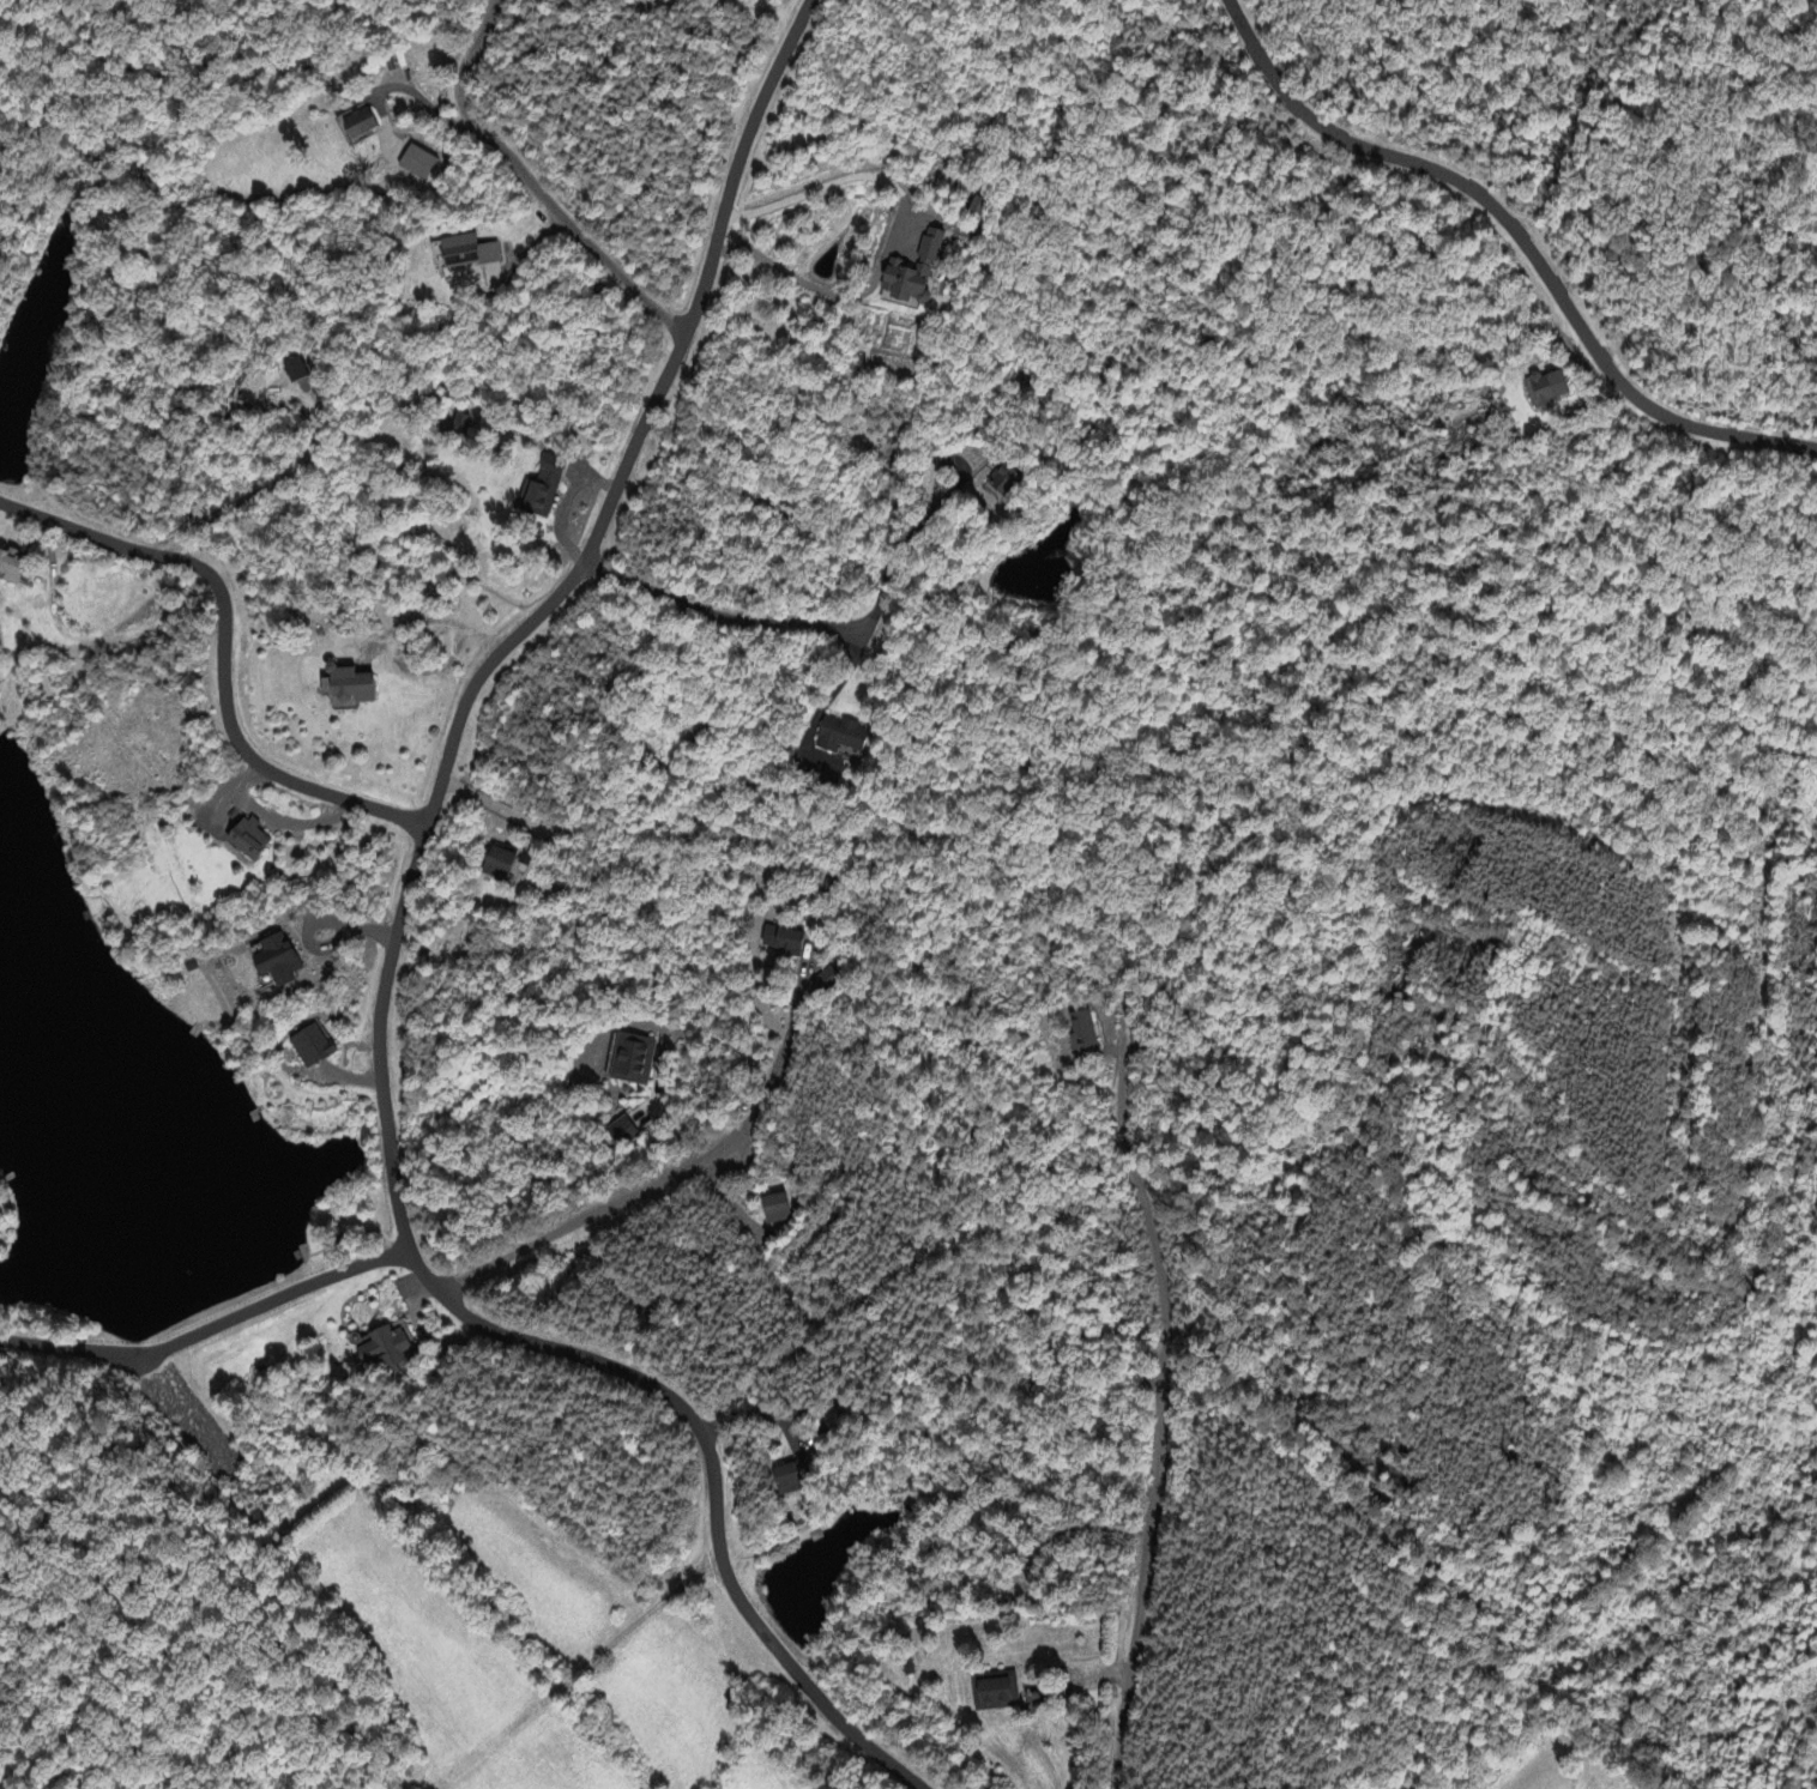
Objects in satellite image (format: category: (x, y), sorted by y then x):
building: (357, 126)
building: (415, 164)
road: (525, 179)
road: (819, 186)
road: (1516, 238)
building: (465, 254)
building: (911, 273)
building: (294, 370)
building: (1545, 391)
building: (451, 427)
road: (641, 430)
building: (1004, 483)
building: (539, 490)
road: (926, 518)
building: (10, 567)
road: (717, 614)
road: (225, 651)
building: (346, 685)
building: (840, 737)
building: (246, 840)
building: (496, 864)
building: (783, 943)
building: (273, 962)
building: (826, 980)
building: (1081, 1034)
building: (309, 1047)
building: (632, 1062)
road: (676, 1171)
building: (774, 1210)
road: (307, 1291)
road: (195, 1337)
road: (555, 1344)
building: (388, 1350)
road: (92, 1355)
road: (1163, 1413)
building: (786, 1480)
building: (994, 1693)

